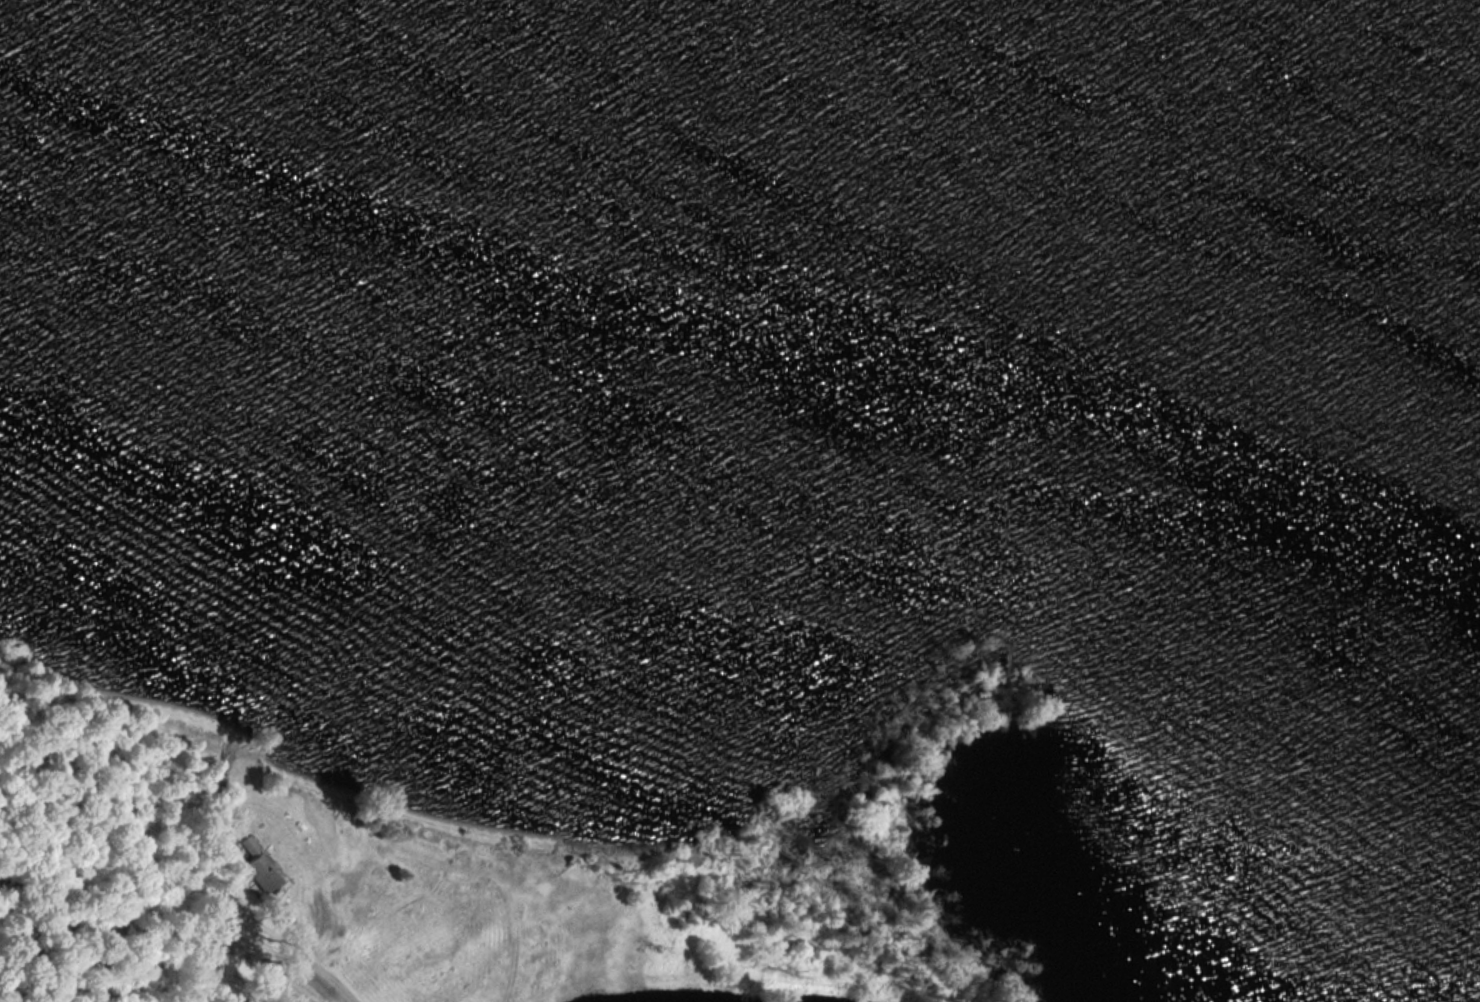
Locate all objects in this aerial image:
building: (261, 868)
road: (316, 971)

